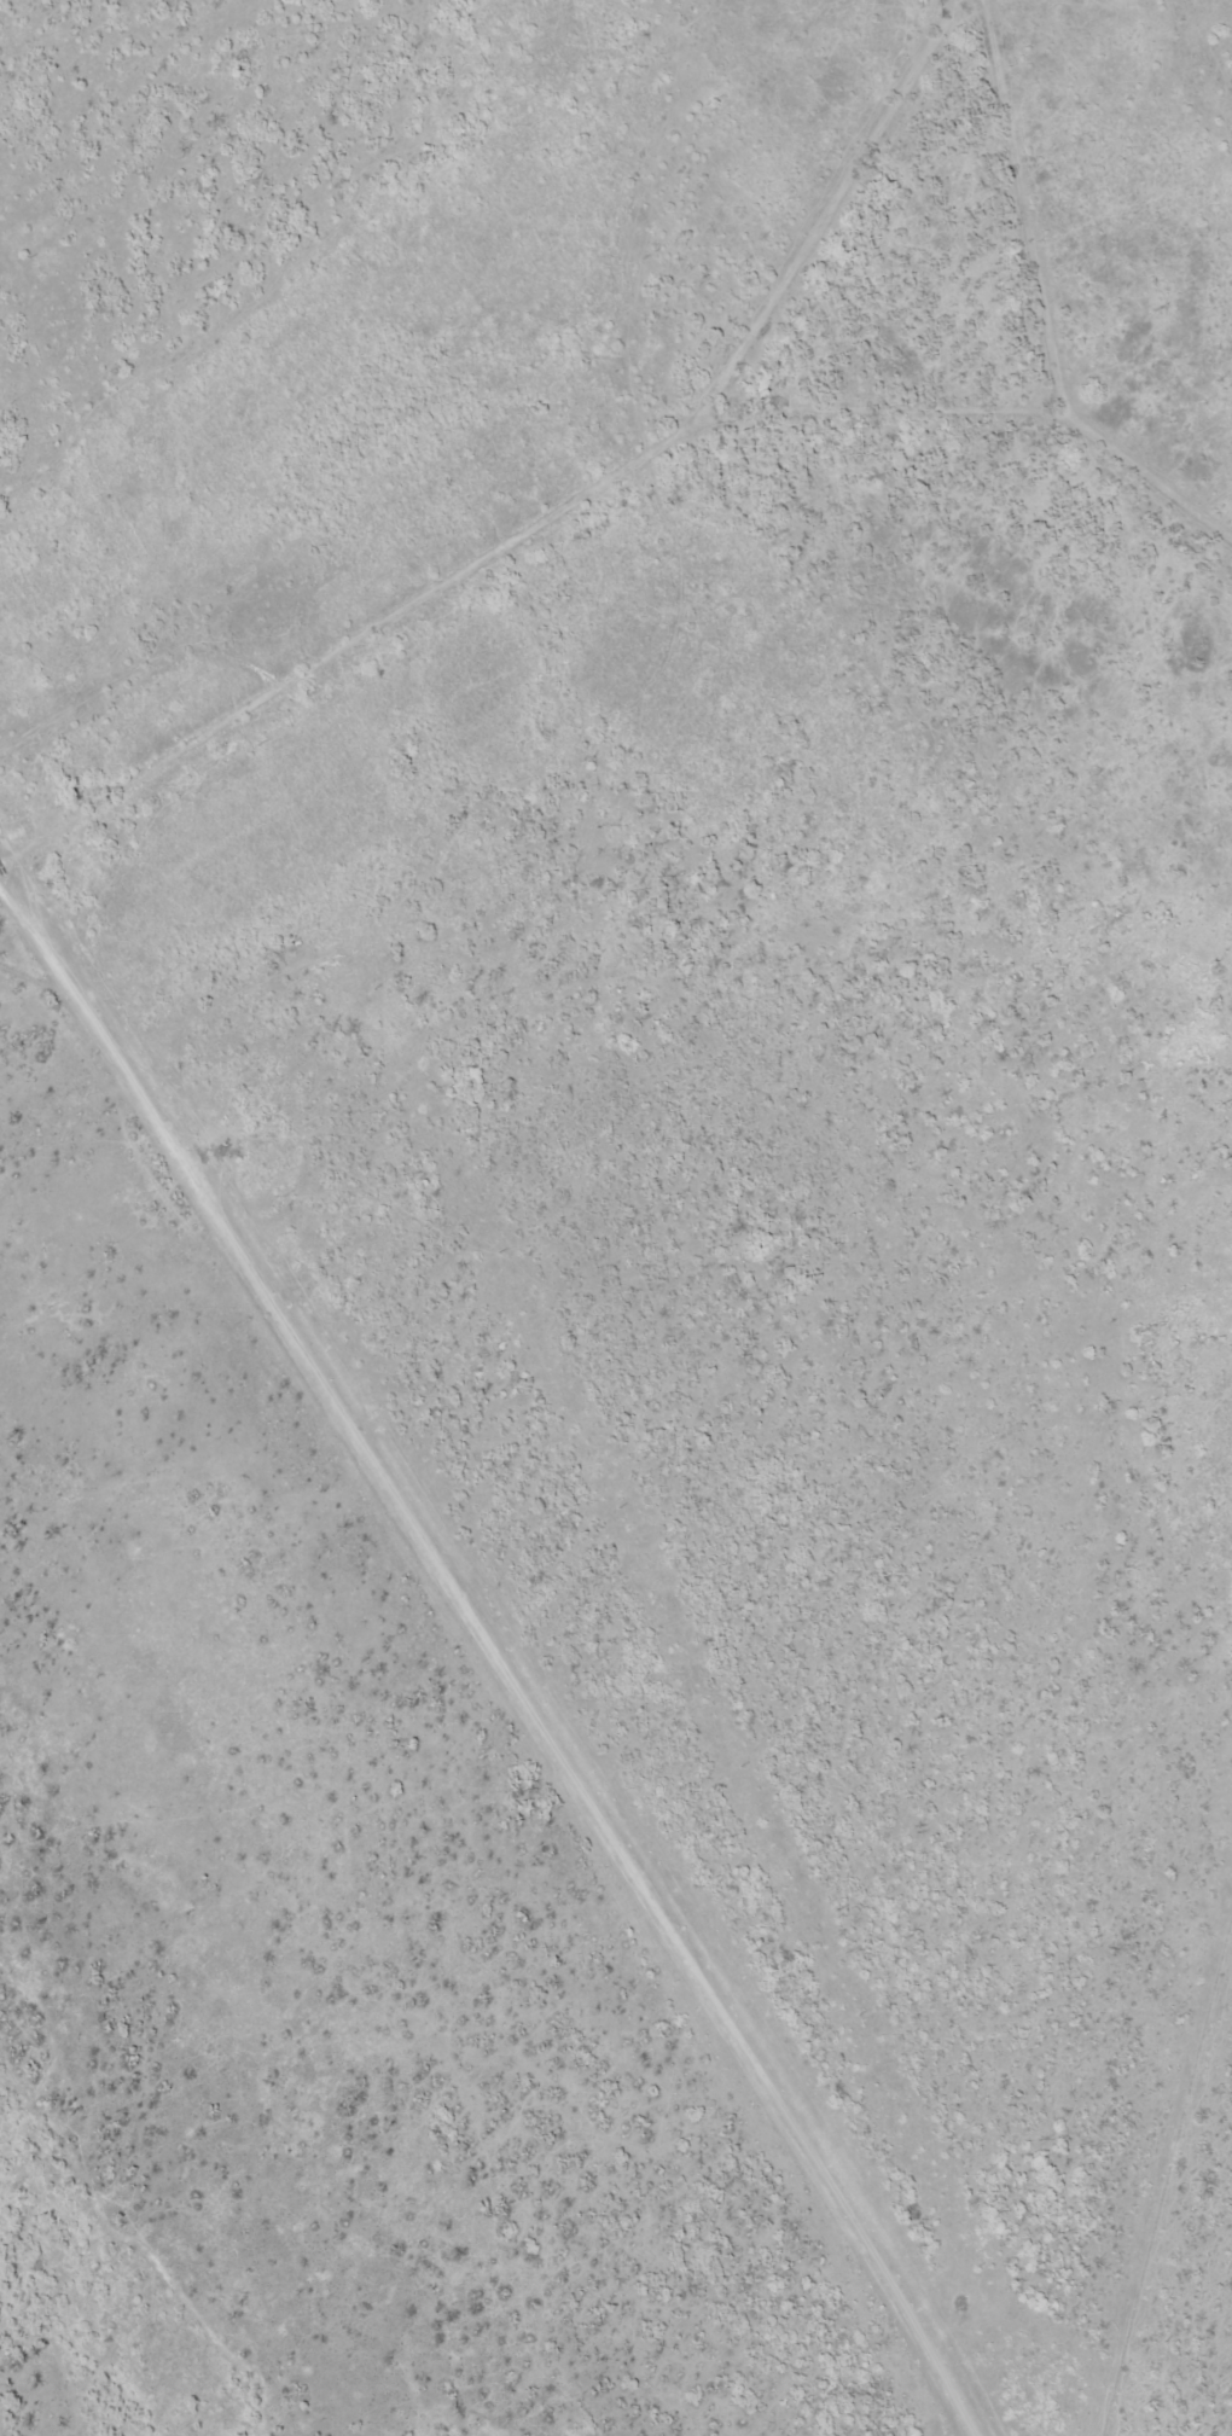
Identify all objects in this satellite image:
road: (480, 1643)

